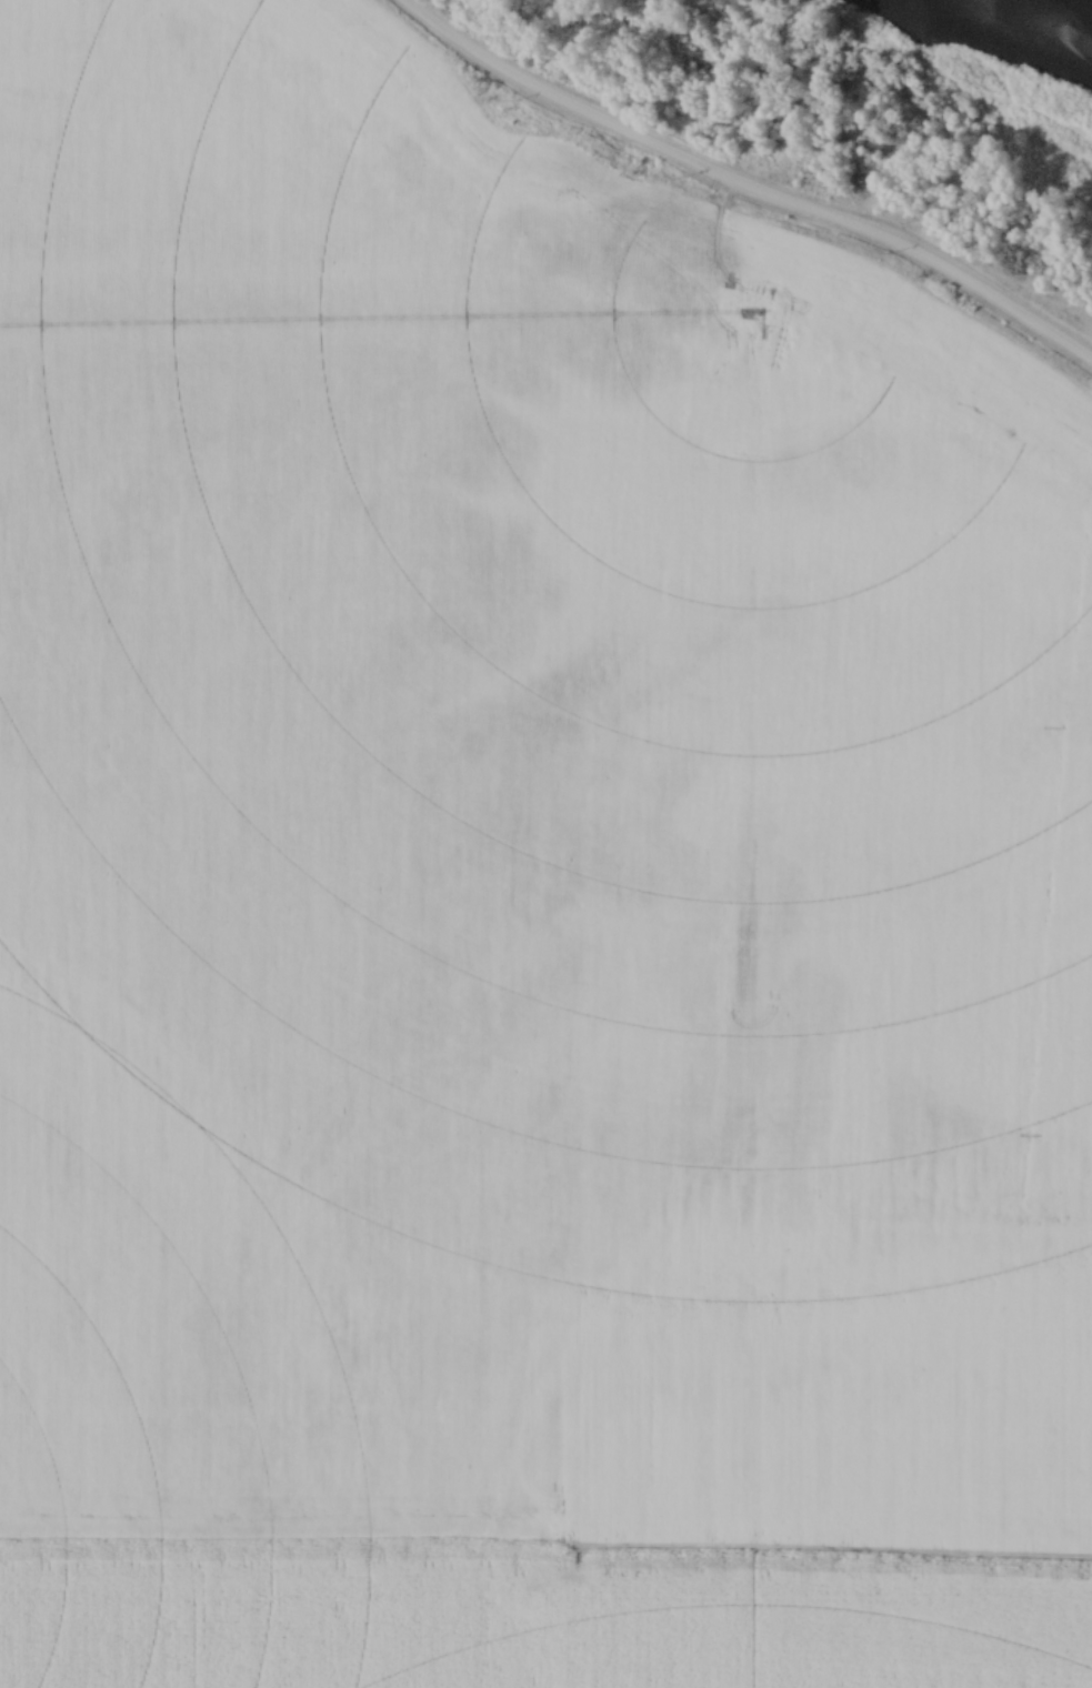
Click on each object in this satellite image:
river: (1045, 24)
road: (738, 191)

